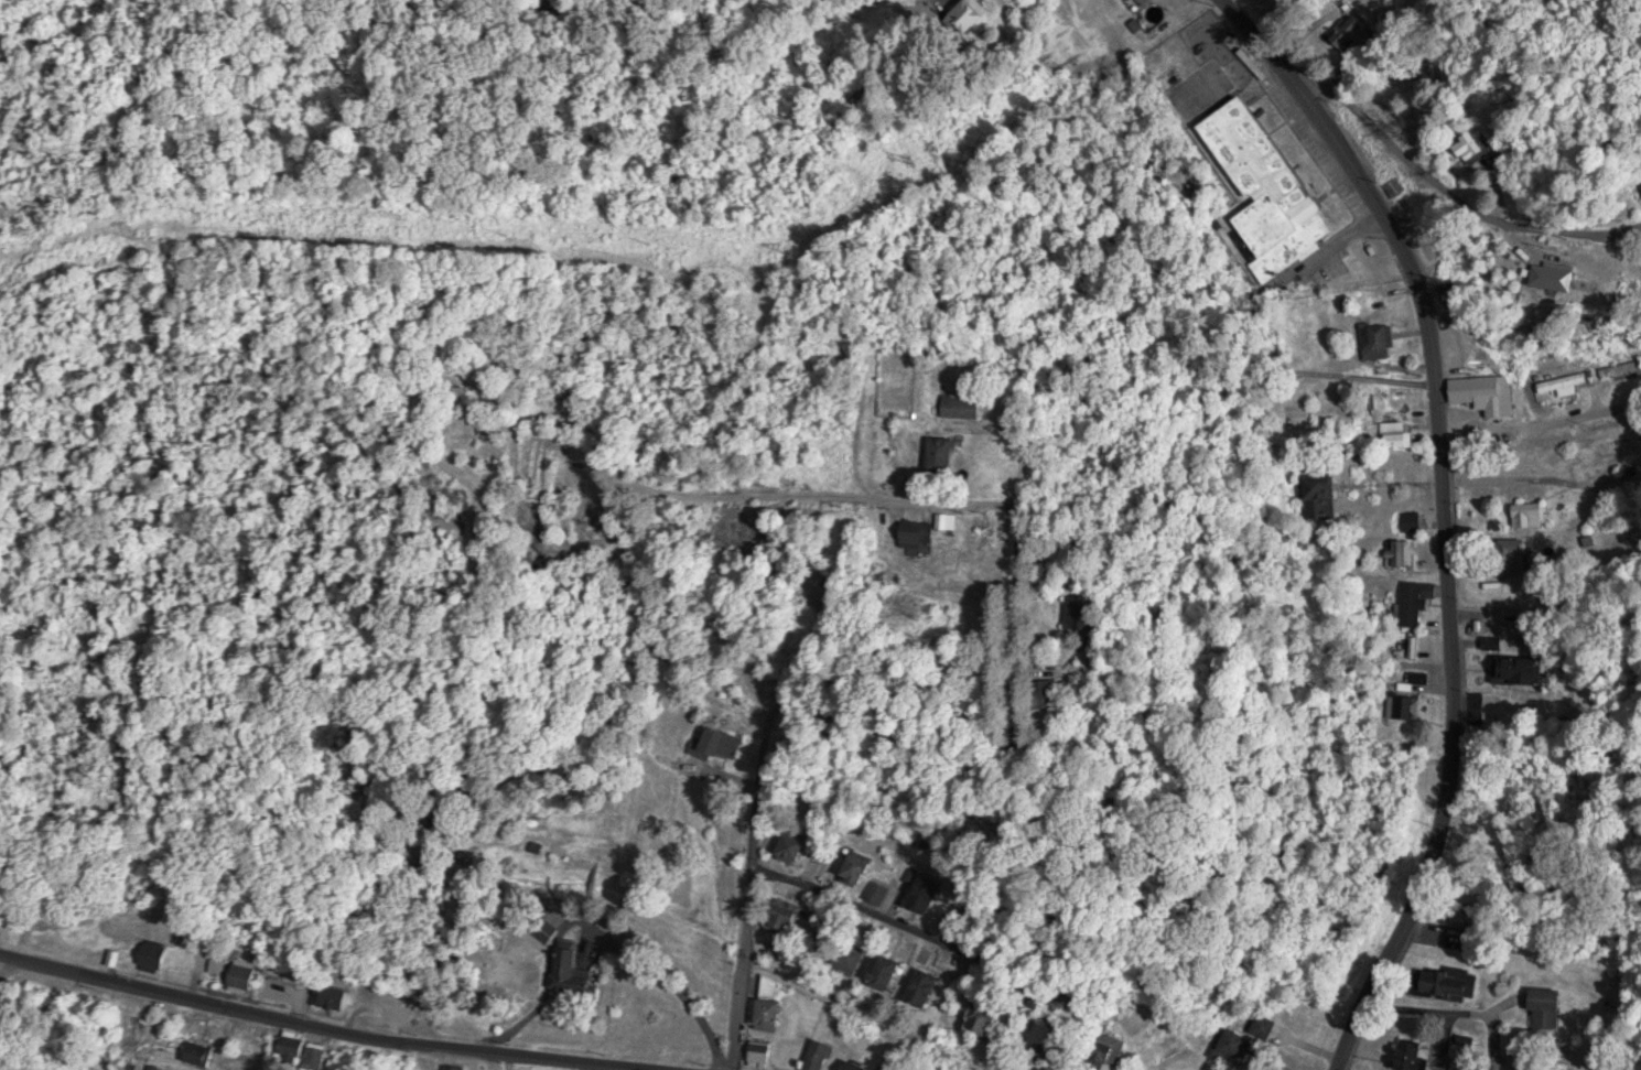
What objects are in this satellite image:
building: (1352, 32)
building: (1475, 147)
road: (1468, 179)
building: (1267, 184)
building: (1557, 275)
building: (1375, 339)
building: (1622, 368)
road: (1339, 374)
building: (1566, 382)
building: (1480, 392)
building: (964, 407)
building: (1401, 435)
building: (946, 453)
building: (1329, 497)
road: (1447, 514)
building: (1530, 515)
building: (950, 520)
building: (1413, 520)
building: (712, 532)
building: (993, 533)
building: (925, 534)
building: (1404, 552)
building: (1098, 612)
building: (1413, 613)
road: (1014, 634)
building: (1522, 668)
building: (1416, 706)
building: (728, 741)
road: (1518, 755)
building: (797, 849)
building: (859, 868)
building: (878, 891)
building: (928, 894)
road: (915, 930)
building: (159, 954)
building: (857, 959)
road: (738, 964)
building: (222, 965)
building: (577, 968)
building: (892, 972)
building: (248, 975)
building: (1451, 983)
building: (926, 987)
road: (2, 990)
building: (335, 996)
building: (776, 1006)
building: (1551, 1007)
building: (404, 1008)
road: (356, 1012)
building: (992, 1018)
building: (1237, 1044)
building: (765, 1051)
building: (203, 1052)
building: (1115, 1052)
building: (822, 1055)
building: (1414, 1055)
building: (322, 1057)
building: (856, 1064)
building: (457, 1067)
building: (893, 1068)

